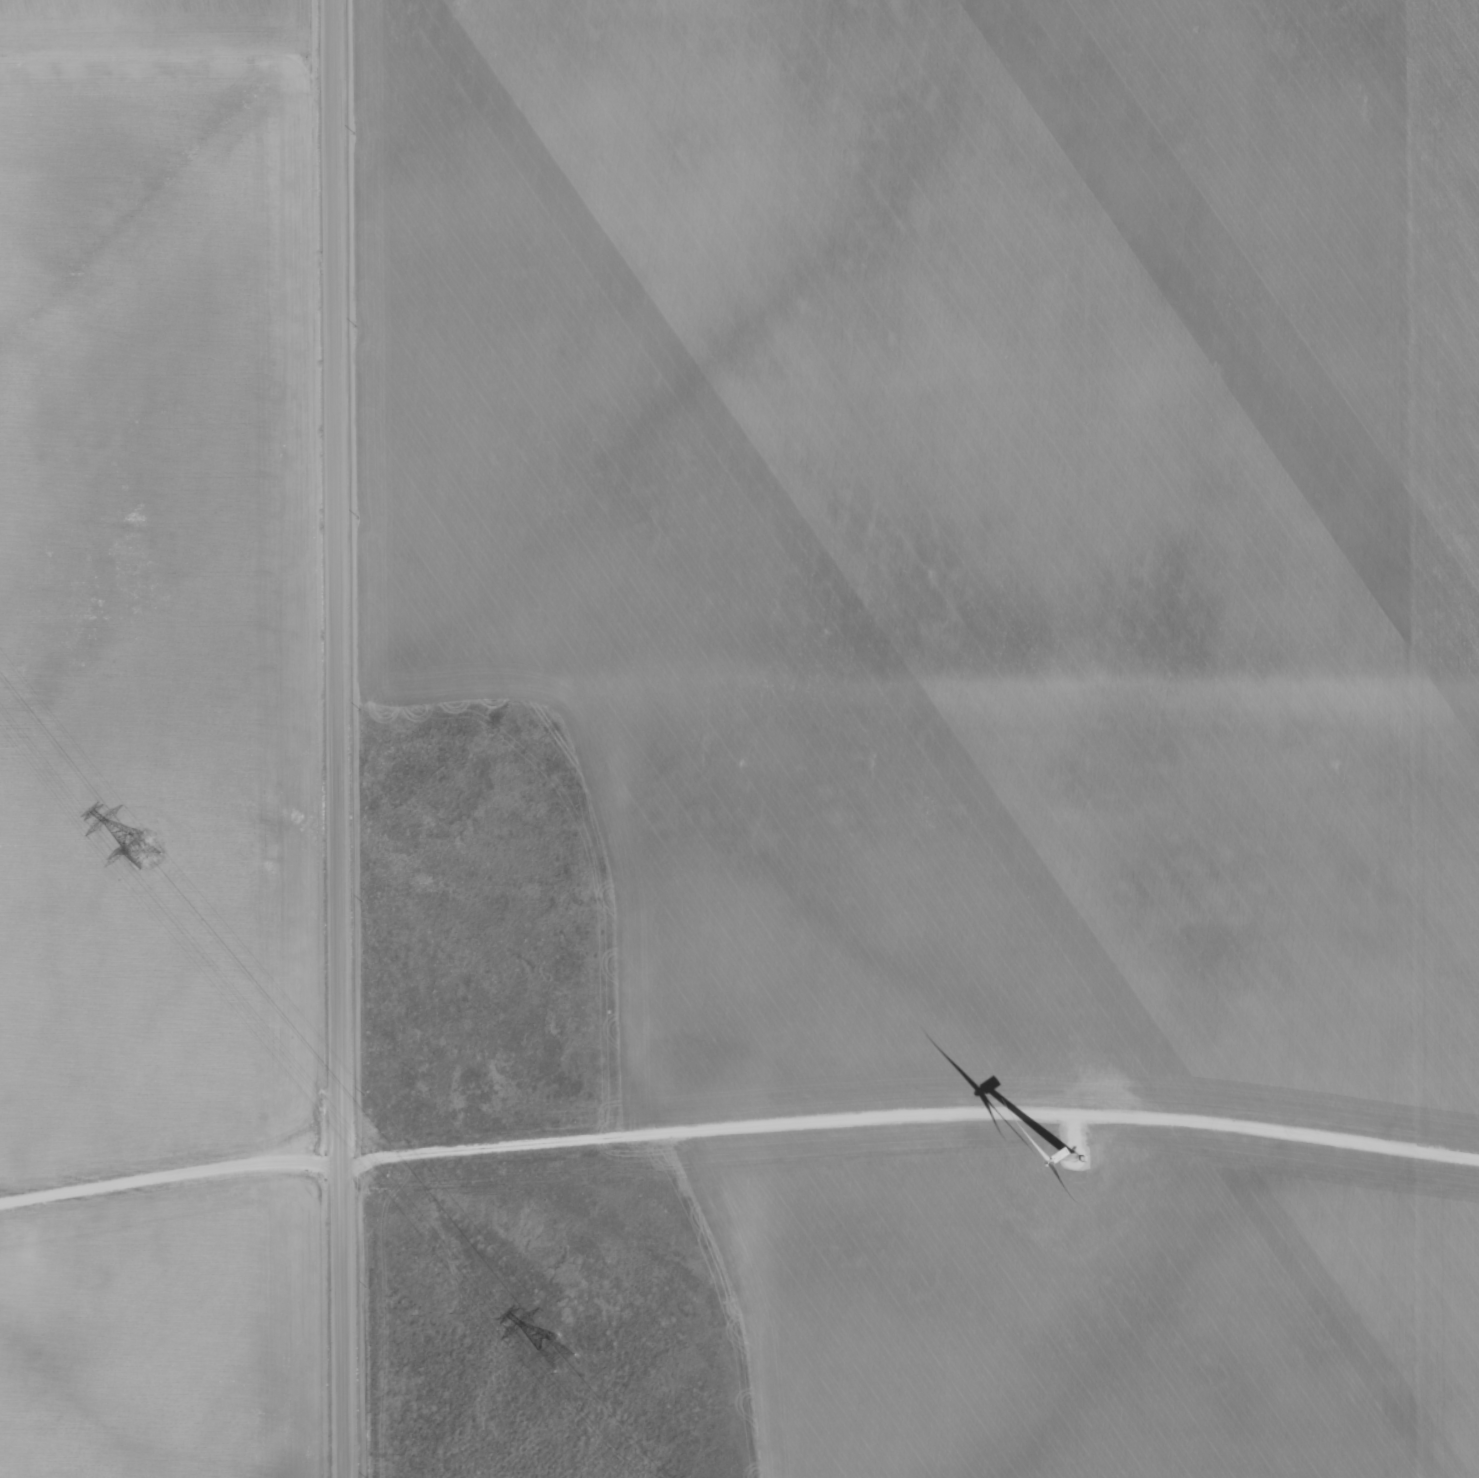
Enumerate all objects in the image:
road: (340, 739)
power tower: (140, 851)
road: (909, 1111)
wind turbine: (1075, 1165)
road: (171, 1172)
power tower: (555, 1353)

